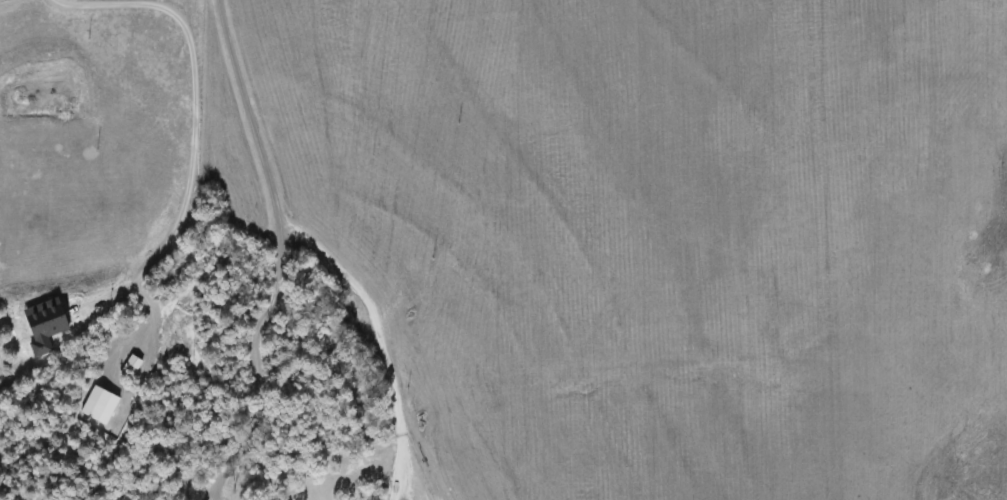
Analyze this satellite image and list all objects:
road: (192, 149)
road: (279, 255)
road: (380, 340)
building: (98, 404)

